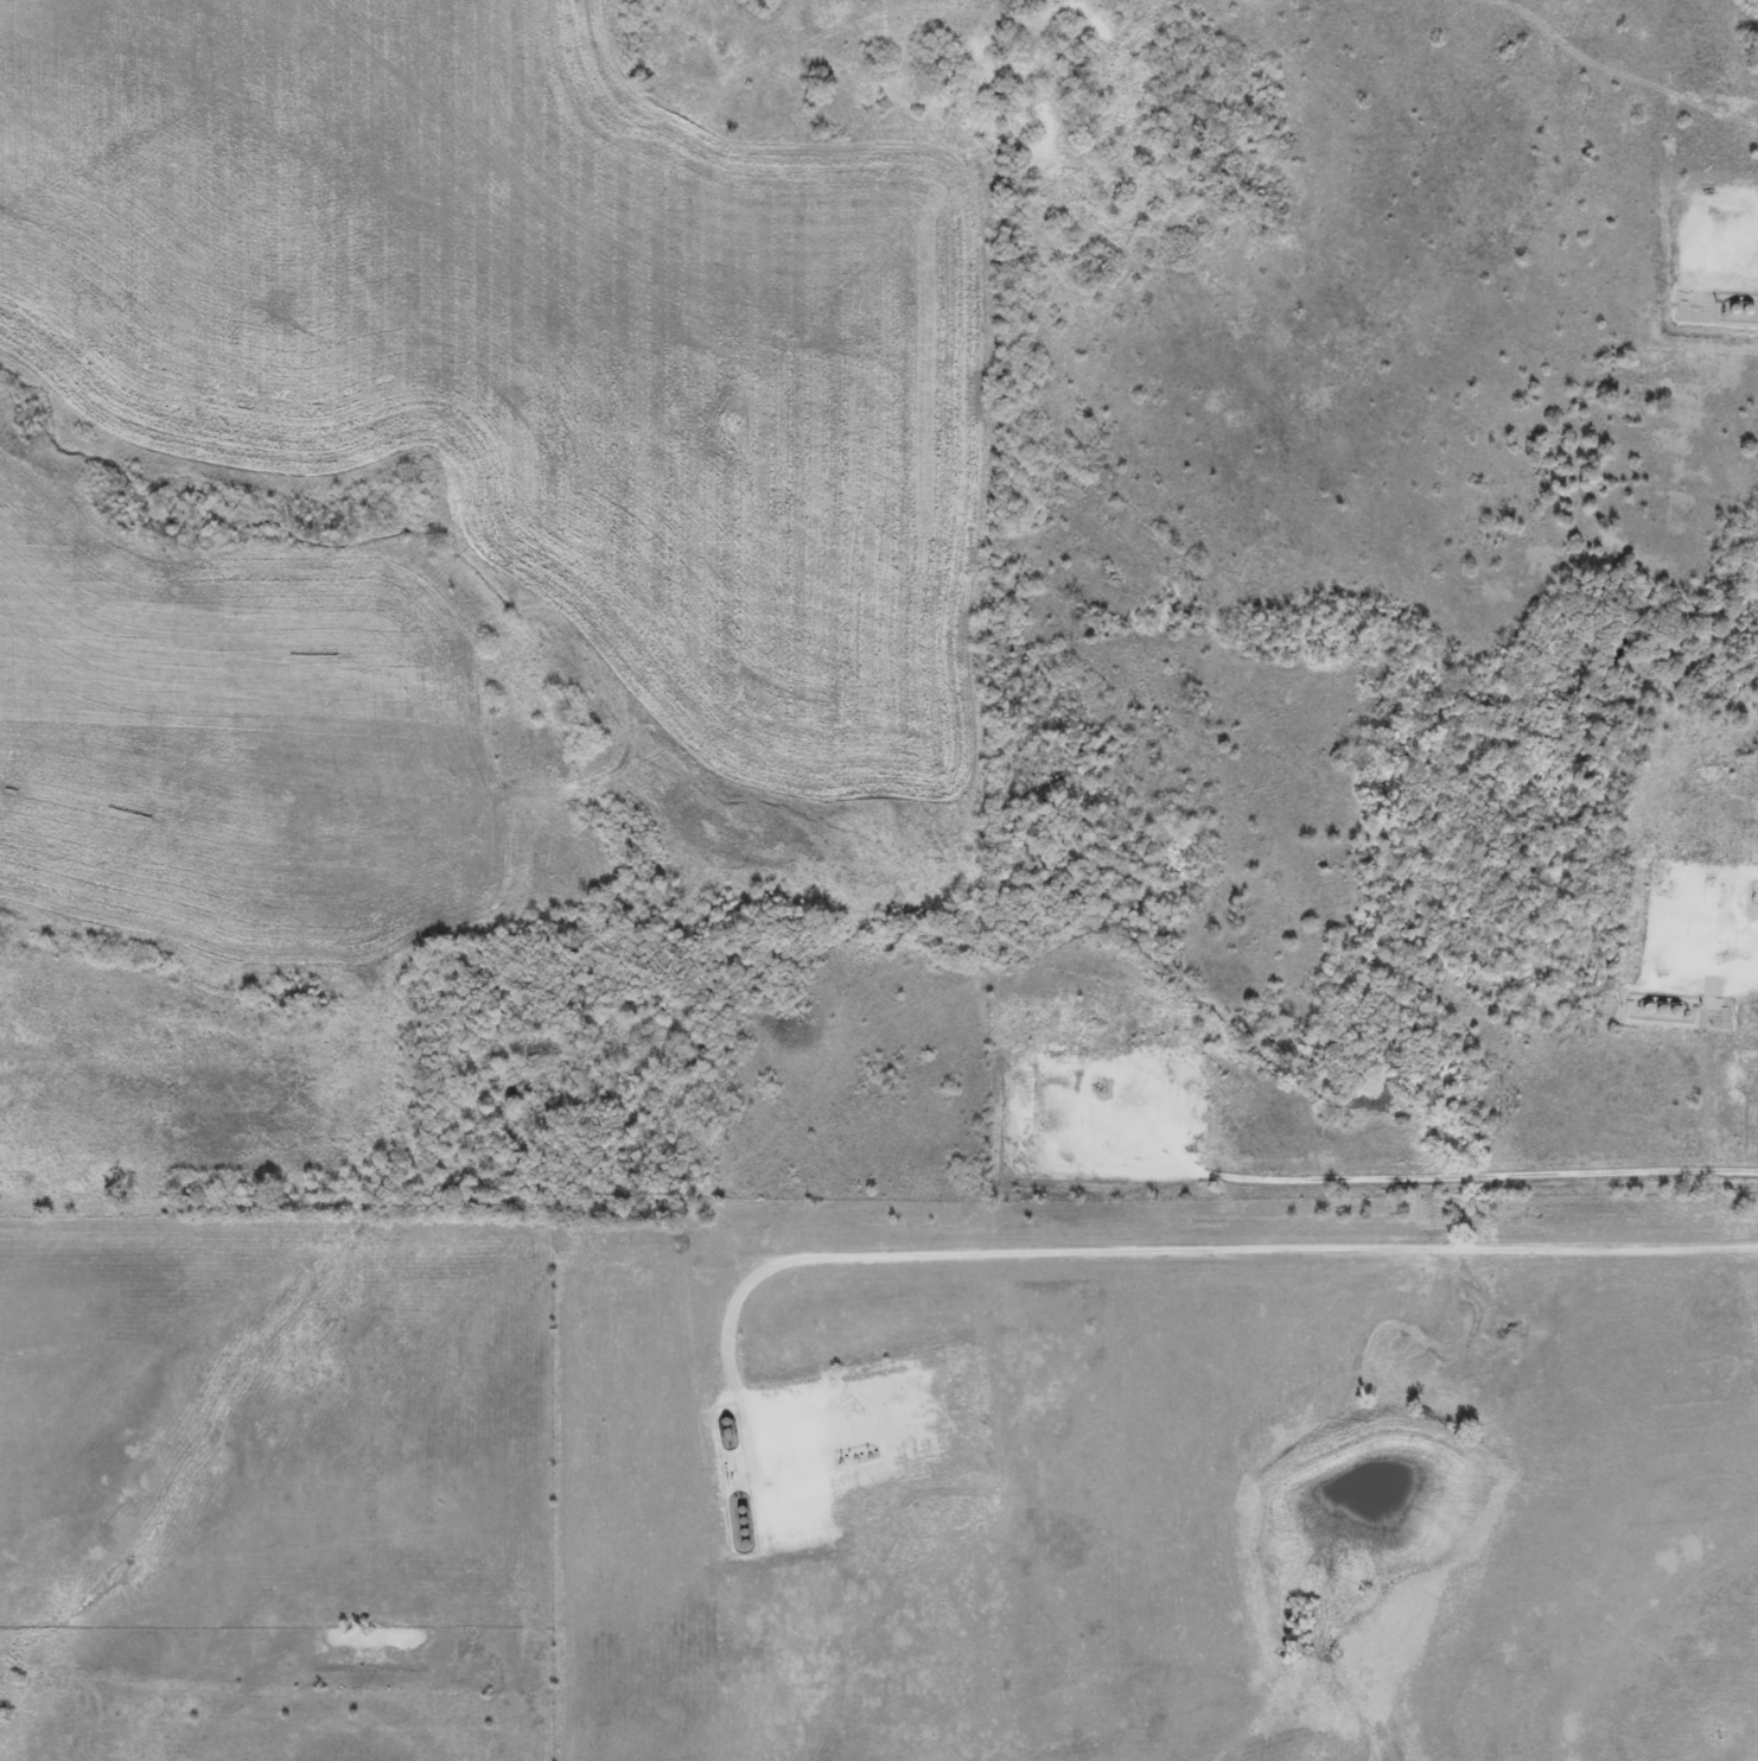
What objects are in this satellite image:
building: (1739, 309)
road: (1046, 818)
road: (1196, 1250)

